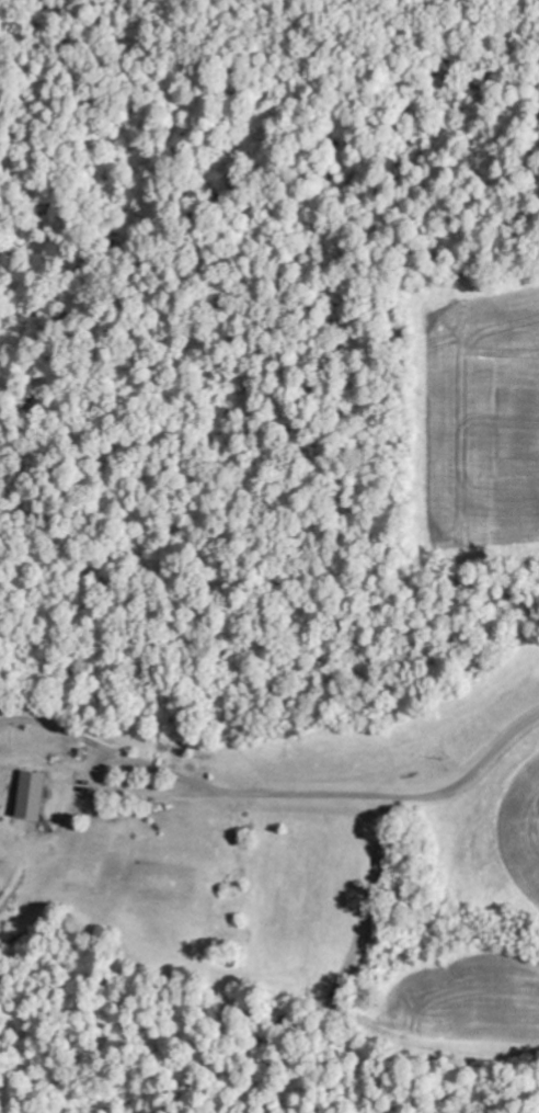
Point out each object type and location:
building: (30, 795)

